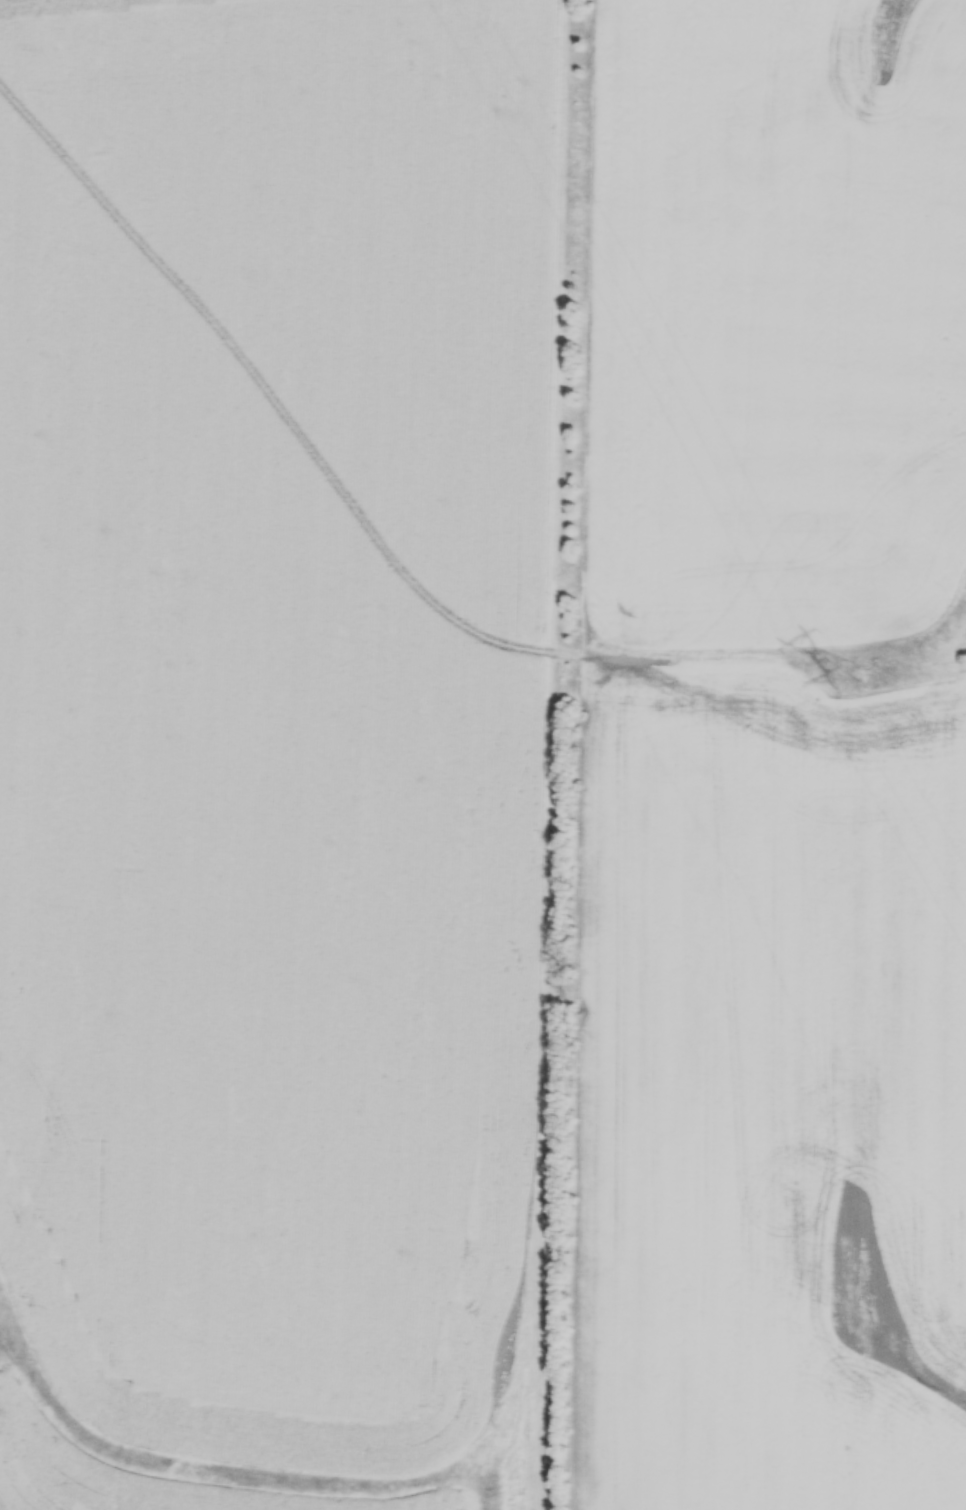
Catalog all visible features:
power tower: (833, 682)

